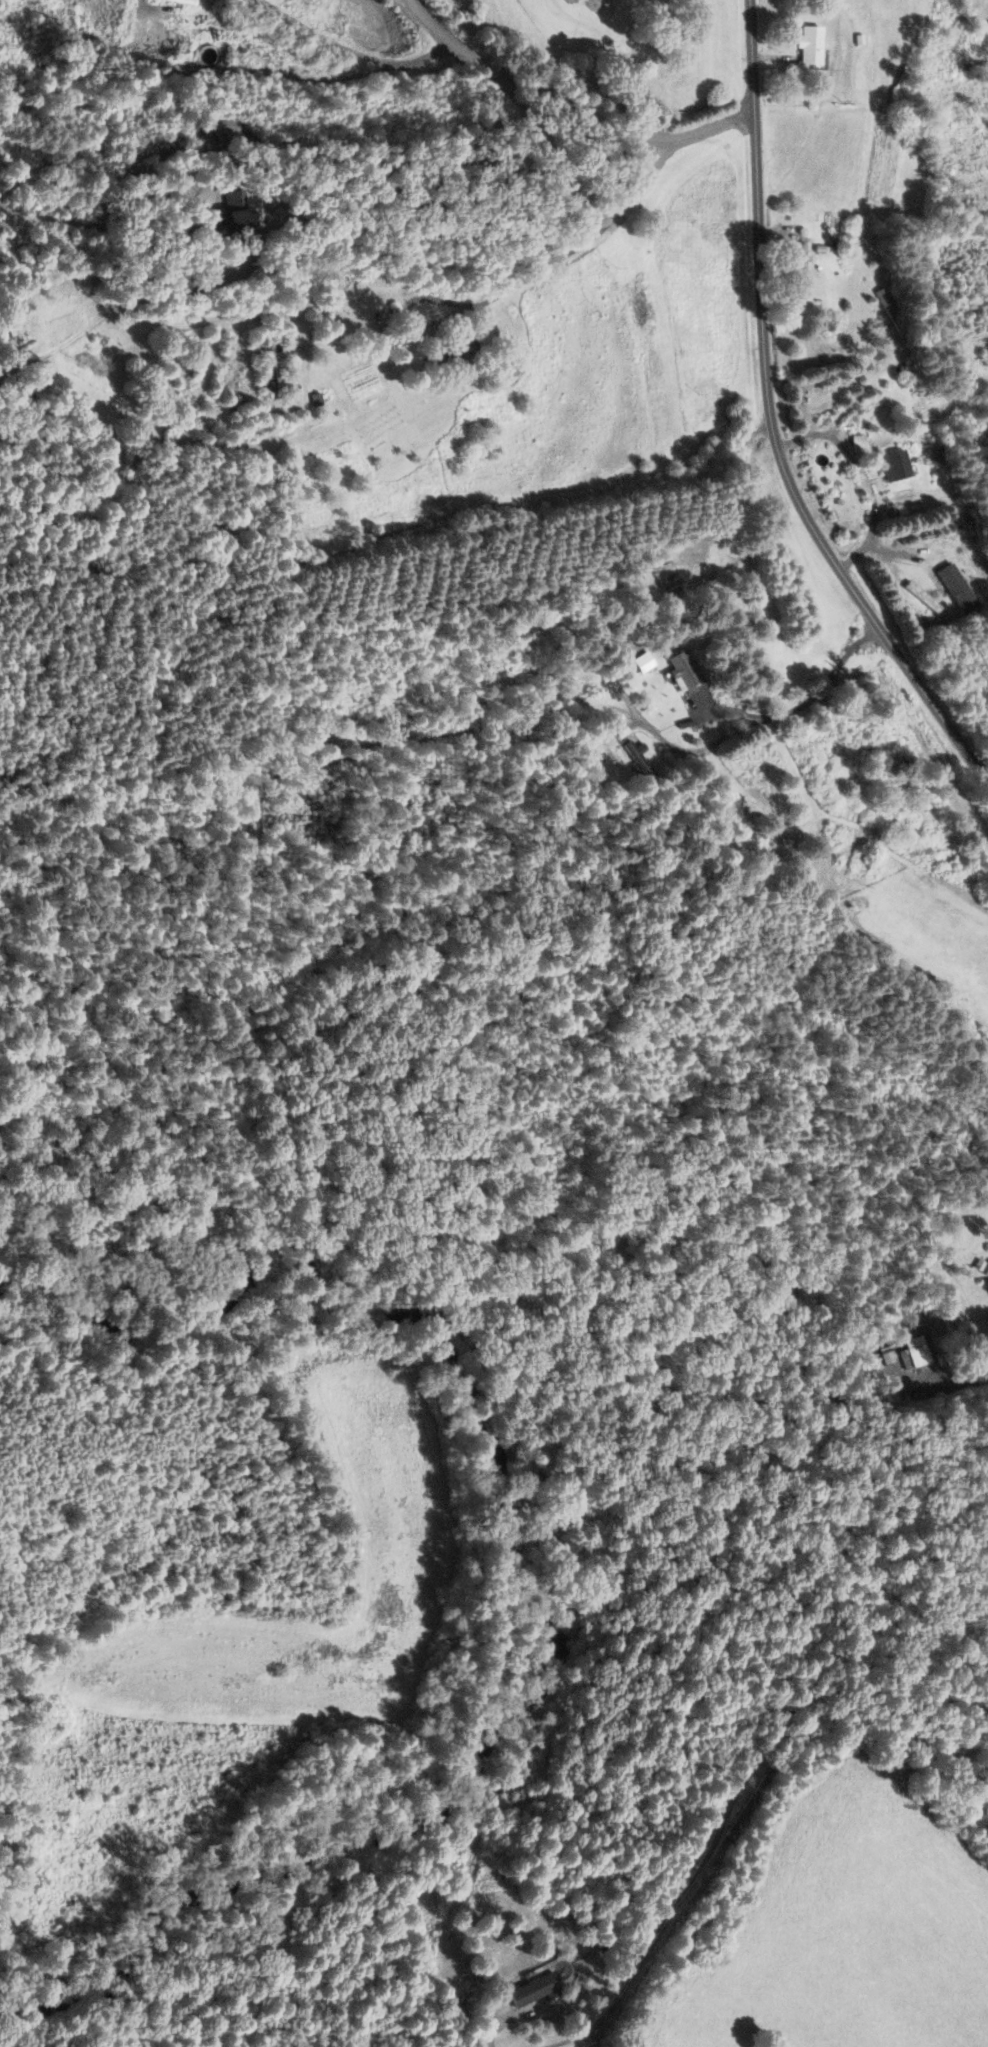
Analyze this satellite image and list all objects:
road: (156, 7)
building: (807, 46)
road: (354, 50)
building: (262, 55)
road: (572, 107)
building: (222, 127)
building: (229, 222)
road: (336, 243)
building: (797, 265)
building: (454, 350)
building: (269, 364)
road: (771, 421)
building: (934, 453)
building: (894, 465)
building: (665, 576)
building: (956, 582)
building: (642, 662)
building: (682, 671)
road: (800, 704)
building: (319, 733)
building: (610, 734)
building: (636, 756)
building: (985, 1271)
building: (913, 1356)
road: (960, 1379)
road: (776, 1730)
building: (532, 1991)

